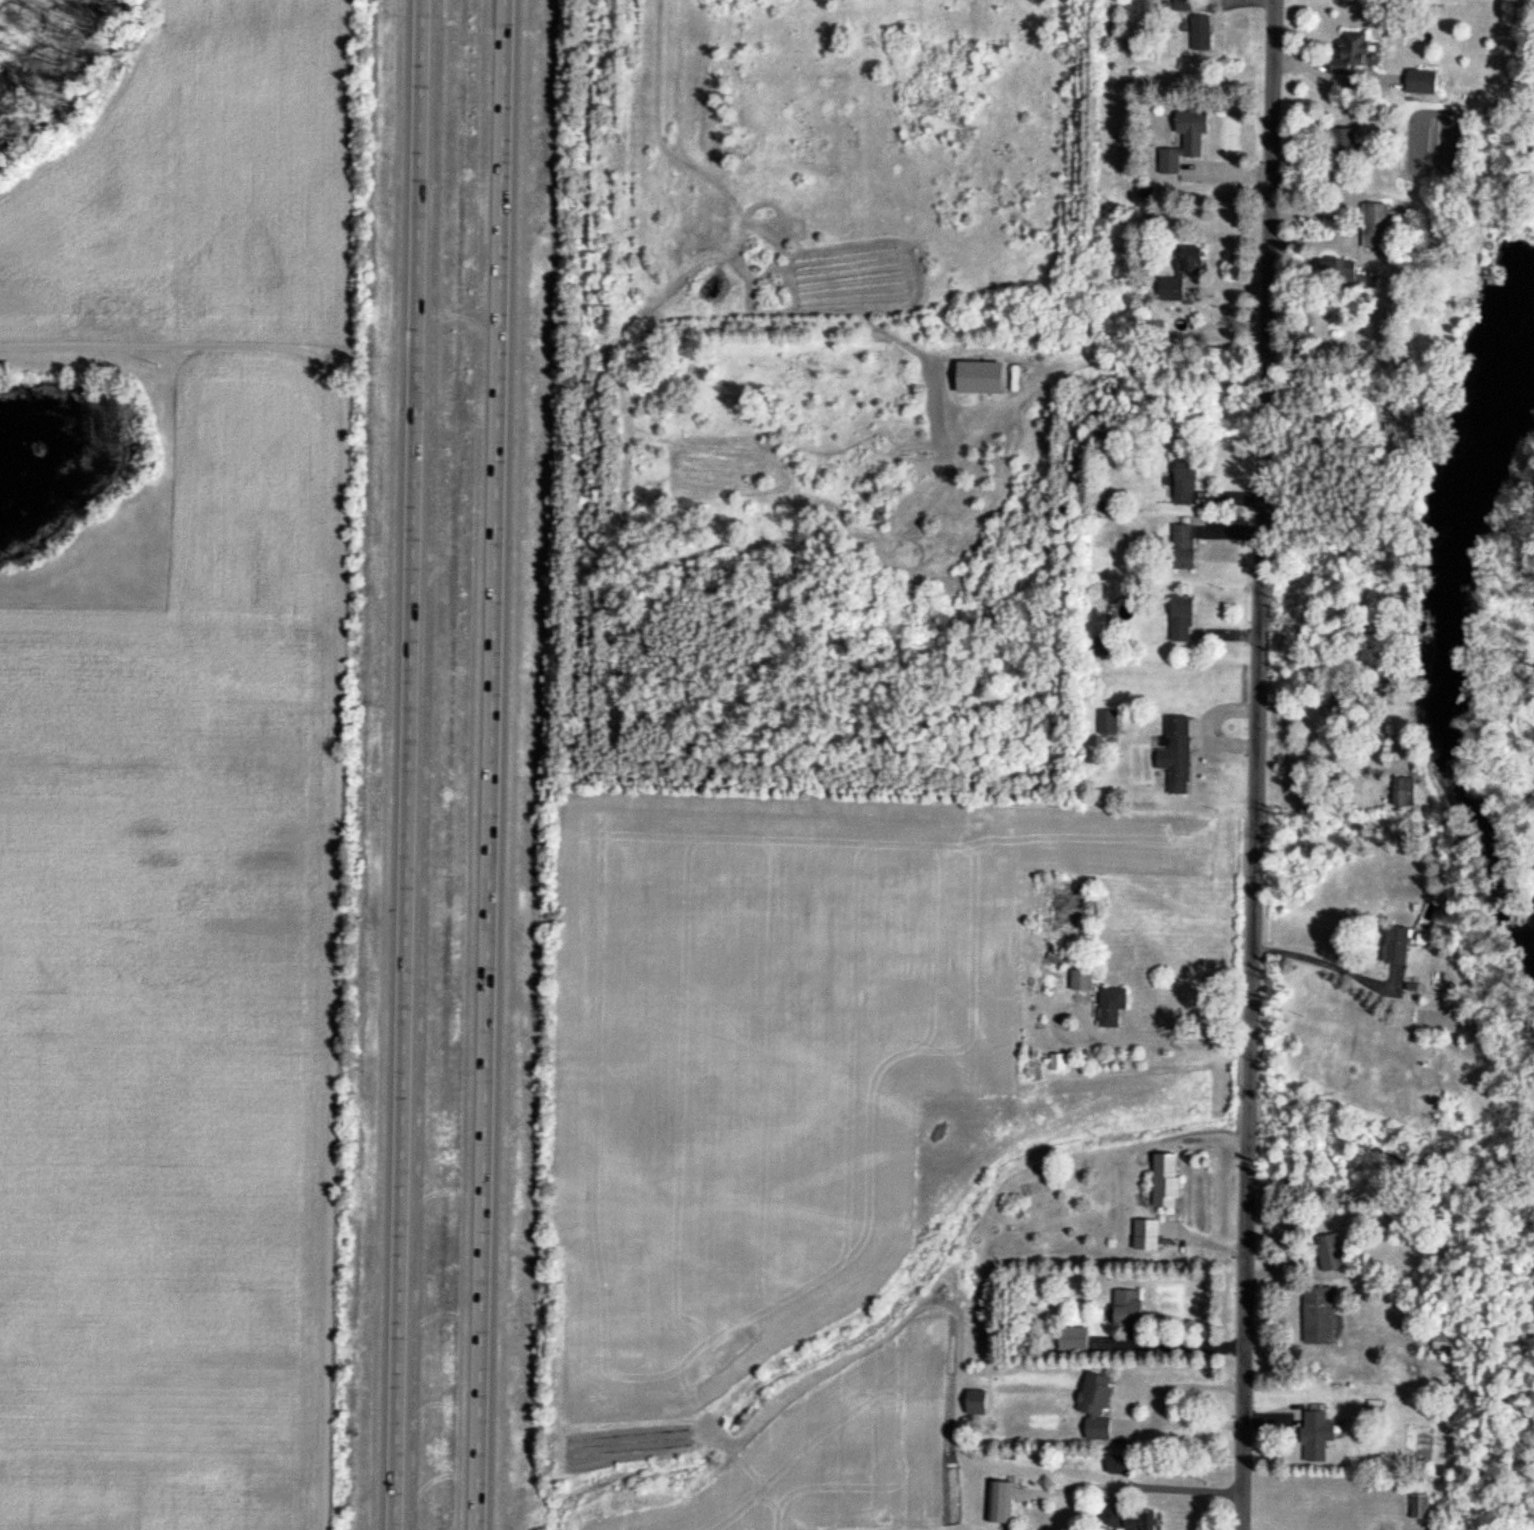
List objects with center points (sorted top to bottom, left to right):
building: (1183, 5)
building: (1201, 33)
building: (1351, 53)
building: (1422, 82)
building: (1186, 141)
building: (1343, 146)
building: (1378, 226)
building: (1339, 272)
building: (1182, 274)
building: (1185, 483)
building: (881, 514)
building: (1184, 547)
building: (1183, 619)
building: (1100, 643)
river: (1443, 650)
building: (1109, 722)
road: (1312, 735)
building: (1177, 754)
road: (406, 764)
road: (493, 764)
road: (1254, 764)
building: (1404, 792)
building: (1065, 908)
building: (1400, 945)
road: (1322, 960)
building: (1100, 998)
road: (1110, 1040)
building: (1059, 1063)
building: (1167, 1182)
building: (1147, 1237)
building: (1326, 1256)
building: (1128, 1309)
building: (1319, 1316)
building: (1074, 1340)
building: (1443, 1343)
building: (978, 1403)
building: (1097, 1406)
building: (1318, 1436)
building: (1120, 1465)
road: (1175, 1490)
building: (1001, 1502)
building: (1421, 1508)
building: (1127, 1519)

